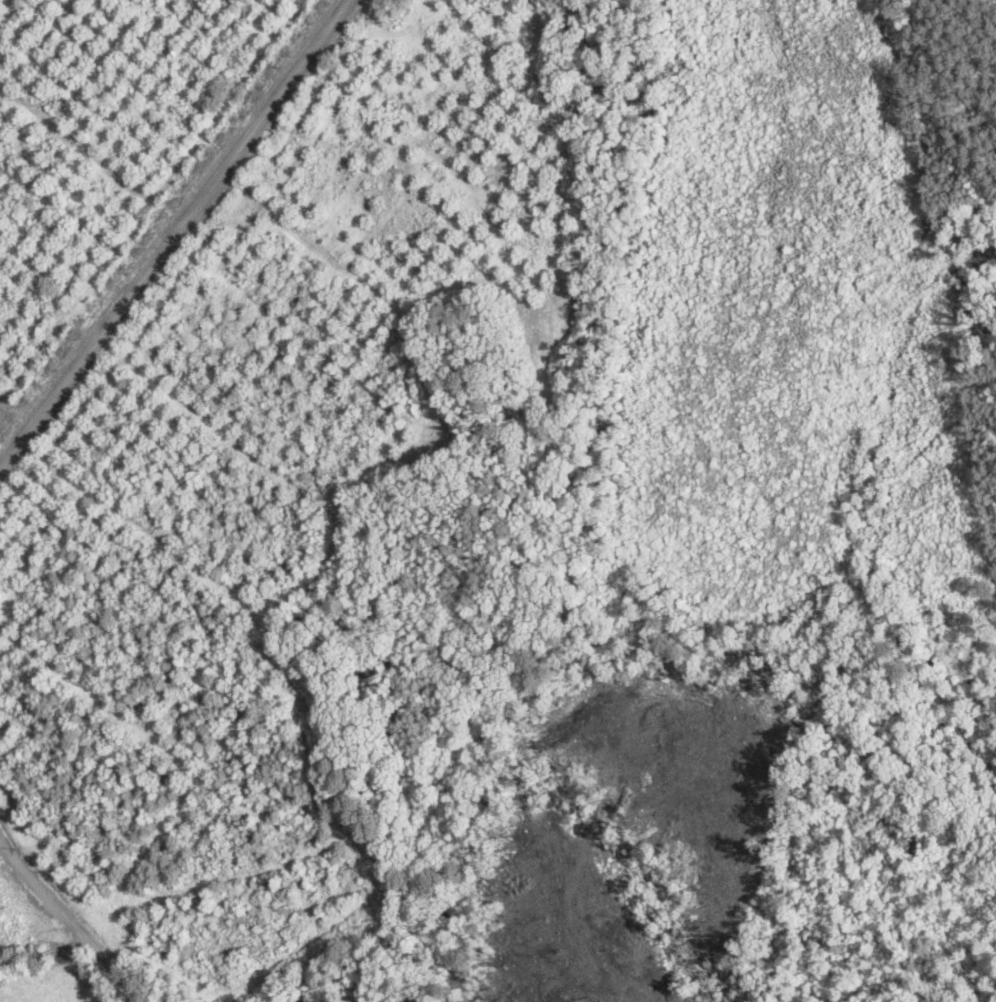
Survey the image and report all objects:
road: (170, 270)
road: (75, 905)

